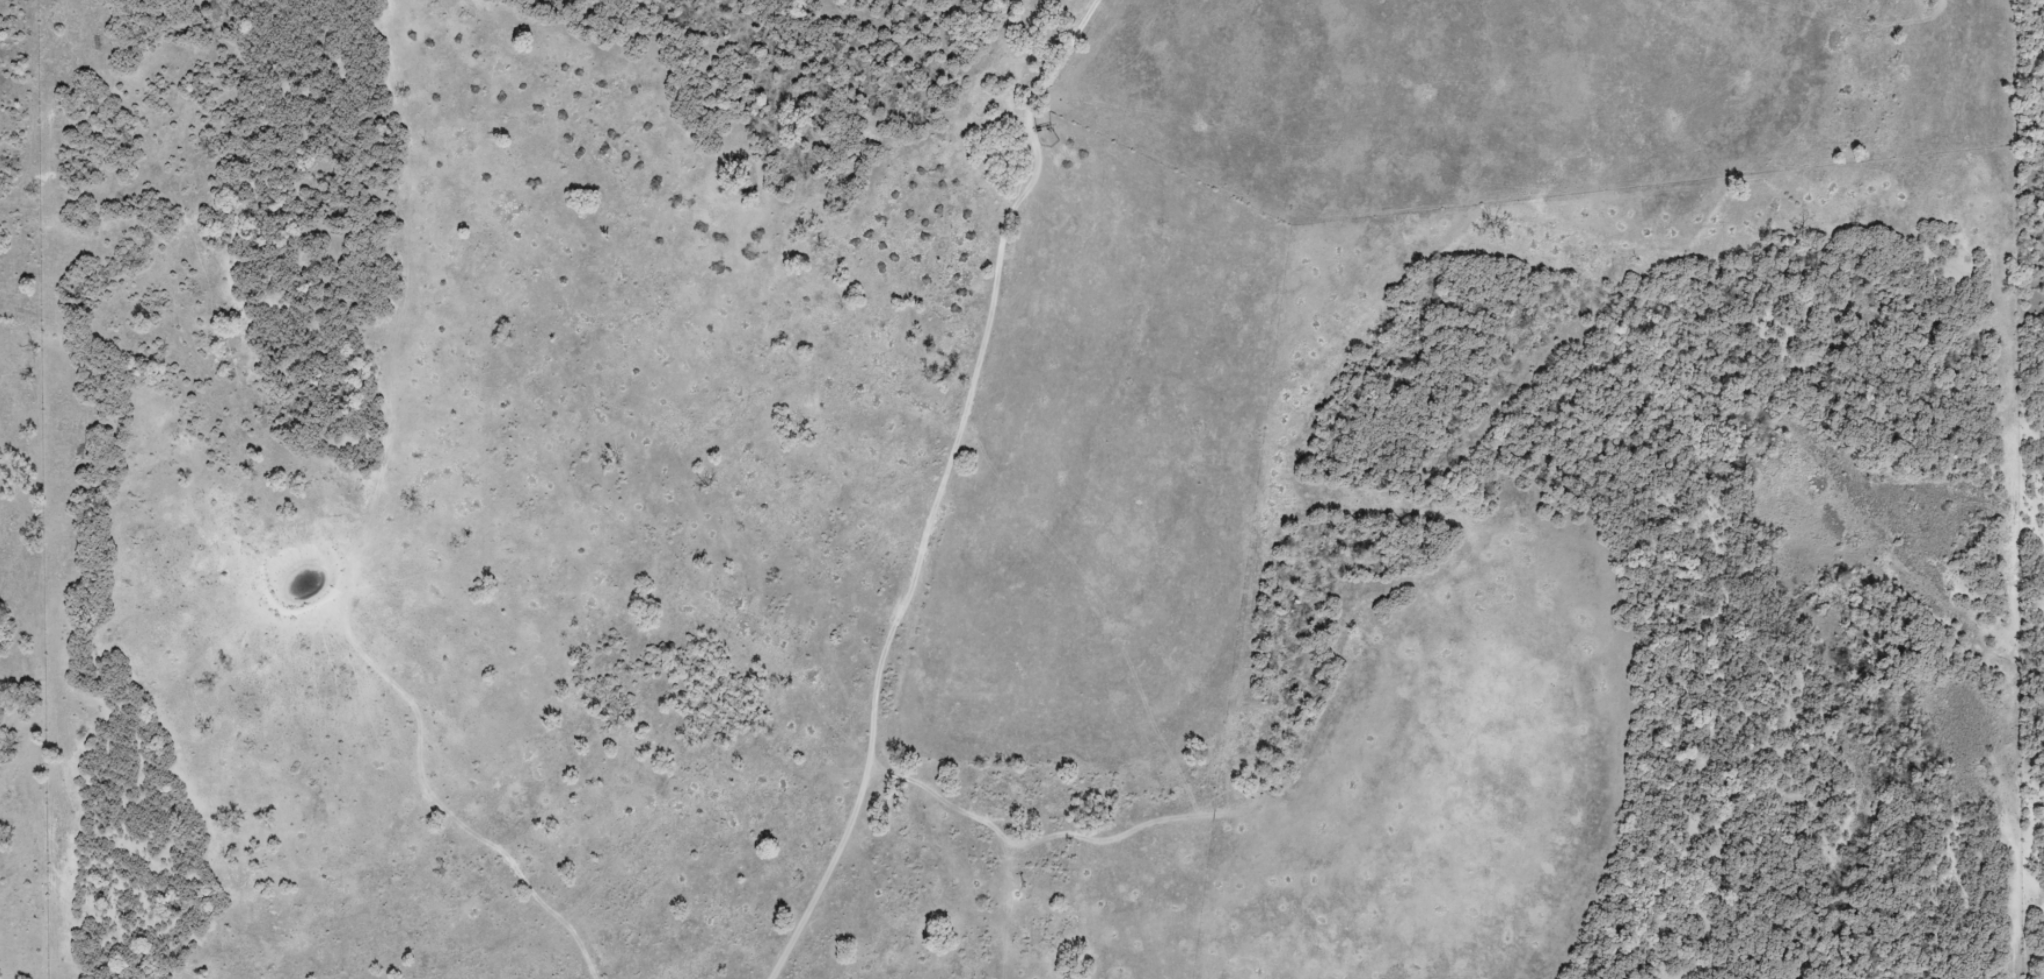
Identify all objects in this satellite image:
road: (942, 486)

